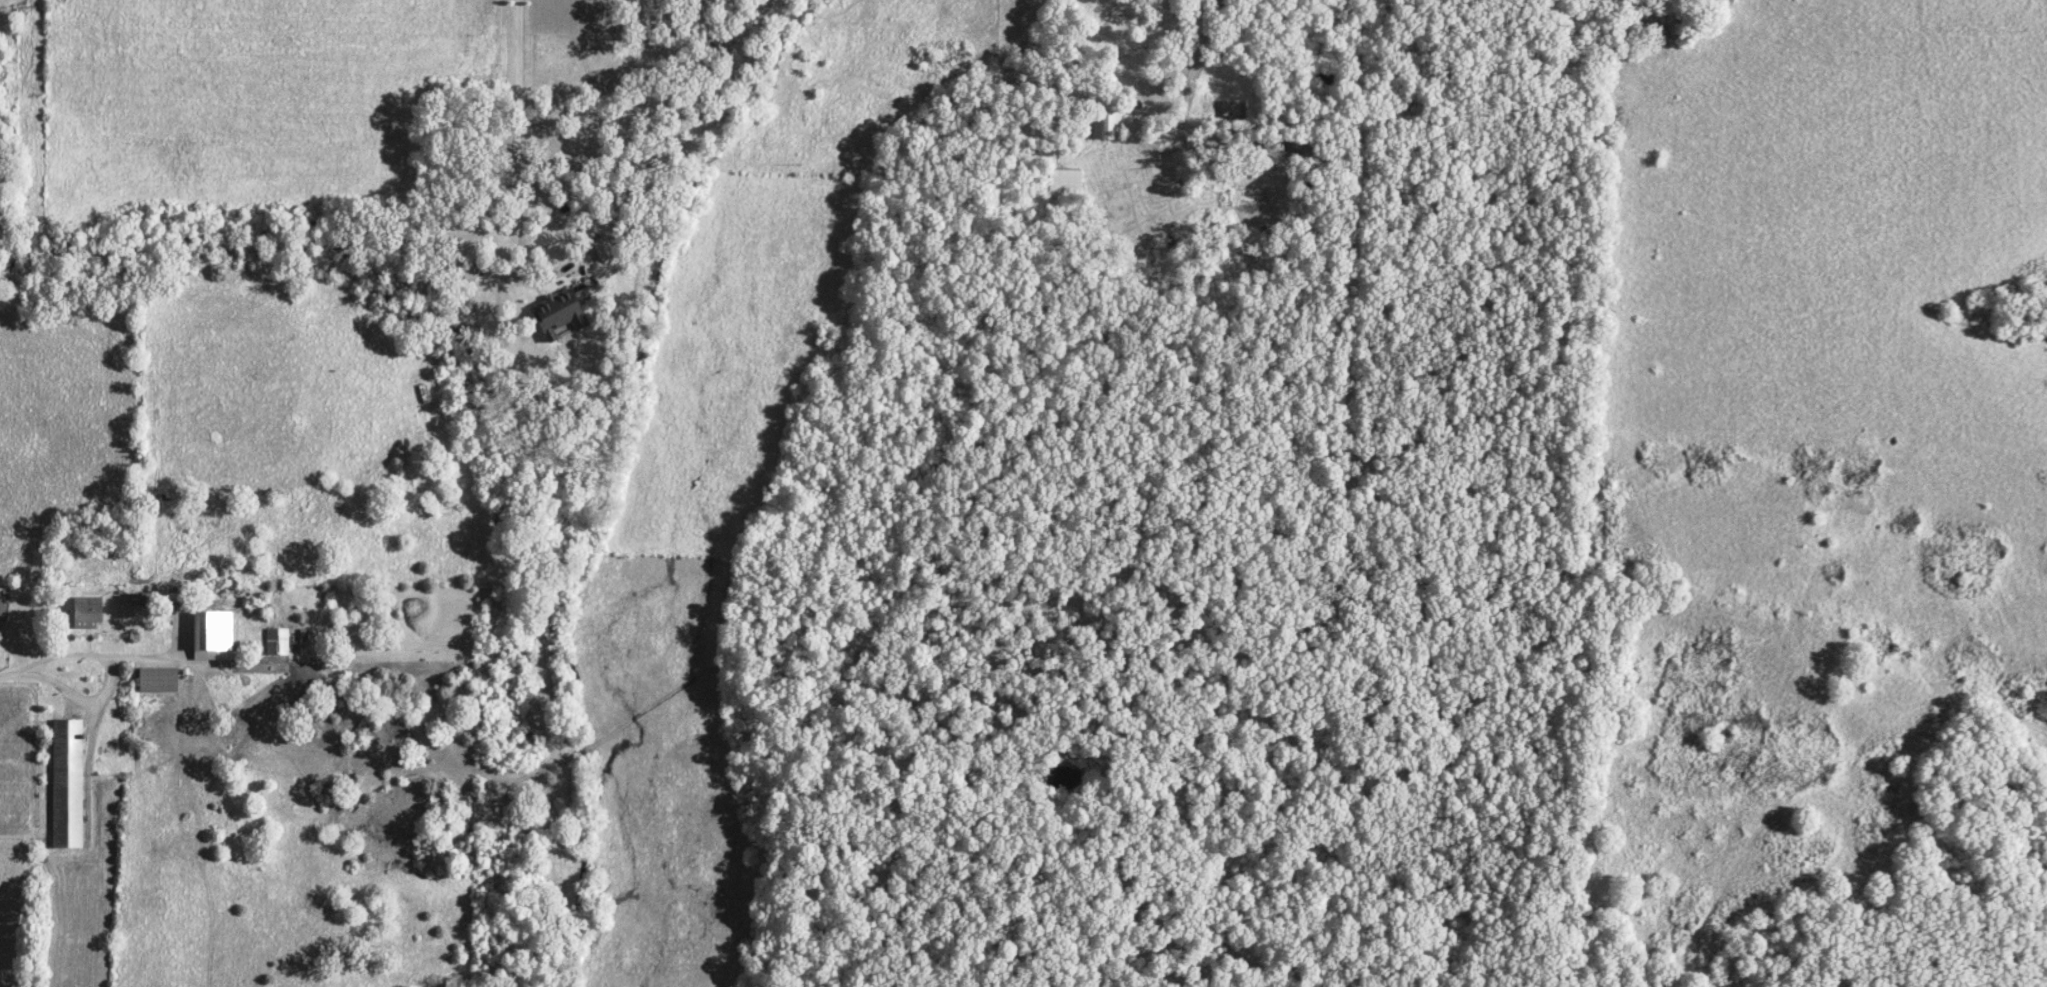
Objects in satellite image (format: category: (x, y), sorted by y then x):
road: (1197, 40)
road: (518, 93)
building: (1108, 125)
road: (1143, 147)
building: (1065, 183)
building: (467, 272)
road: (547, 273)
building: (556, 316)
building: (84, 610)
building: (211, 636)
building: (276, 642)
road: (36, 661)
building: (156, 680)
building: (66, 784)

